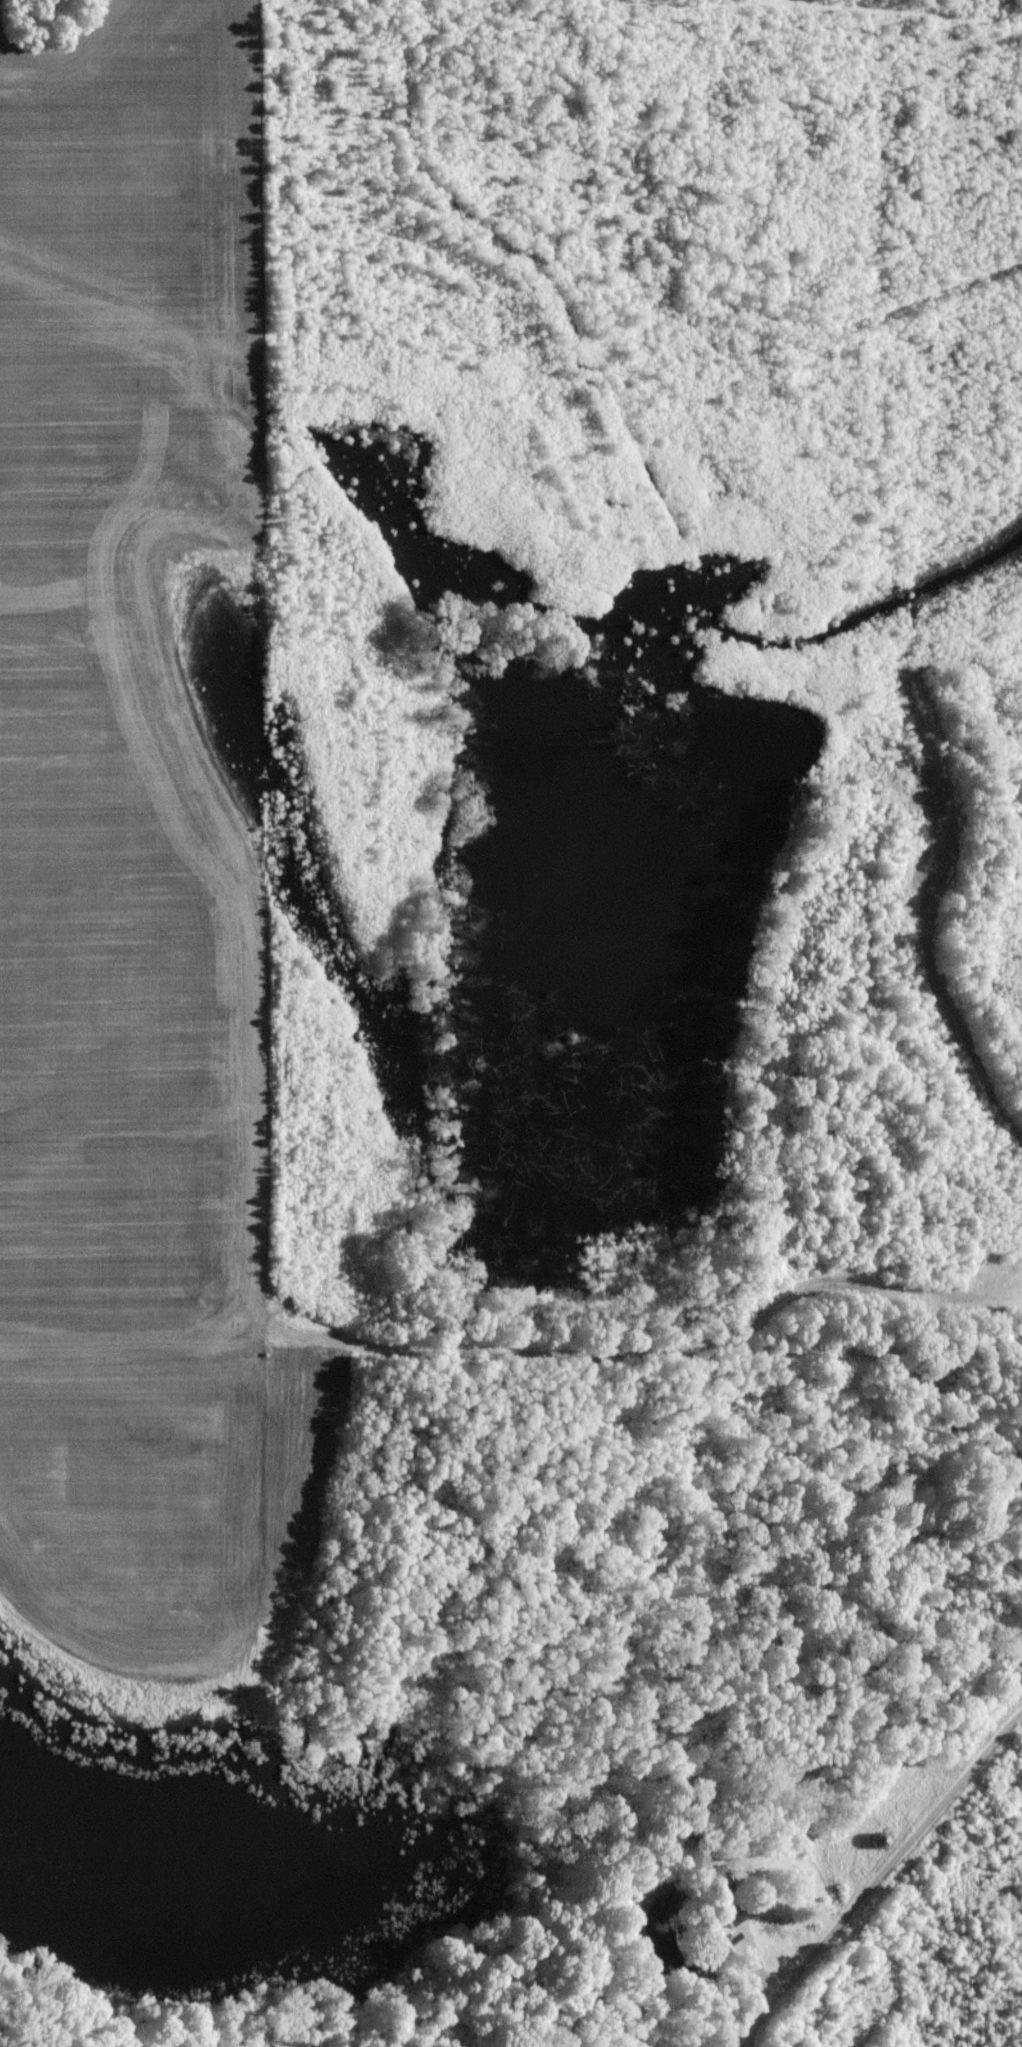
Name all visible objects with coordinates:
road: (880, 1879)

